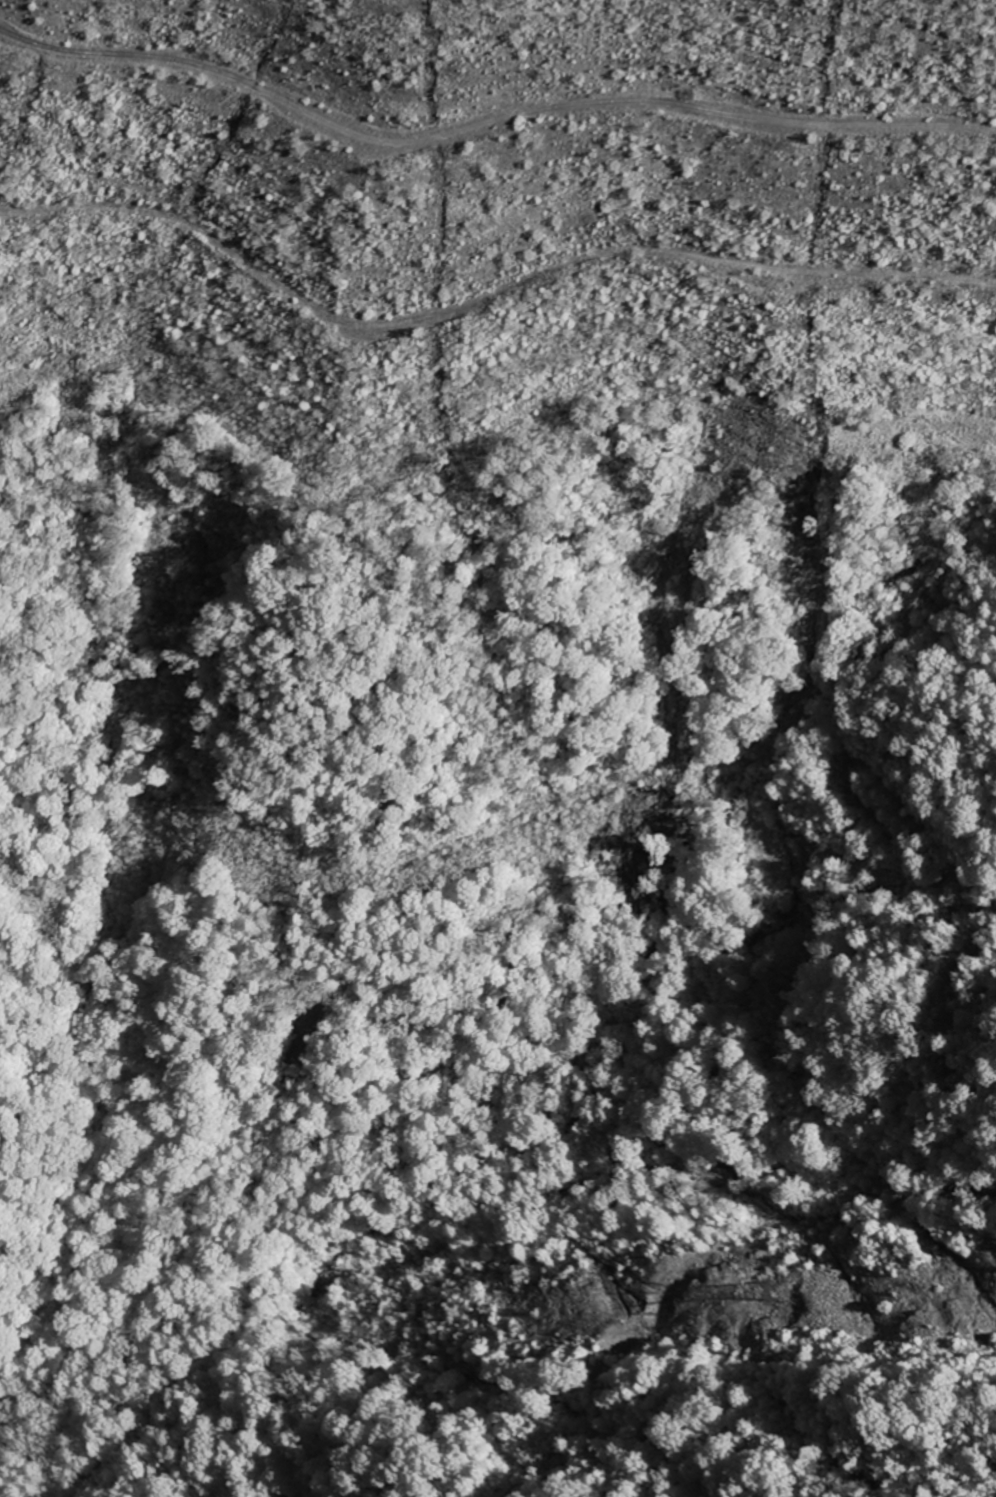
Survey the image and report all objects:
power tower: (764, 1291)

